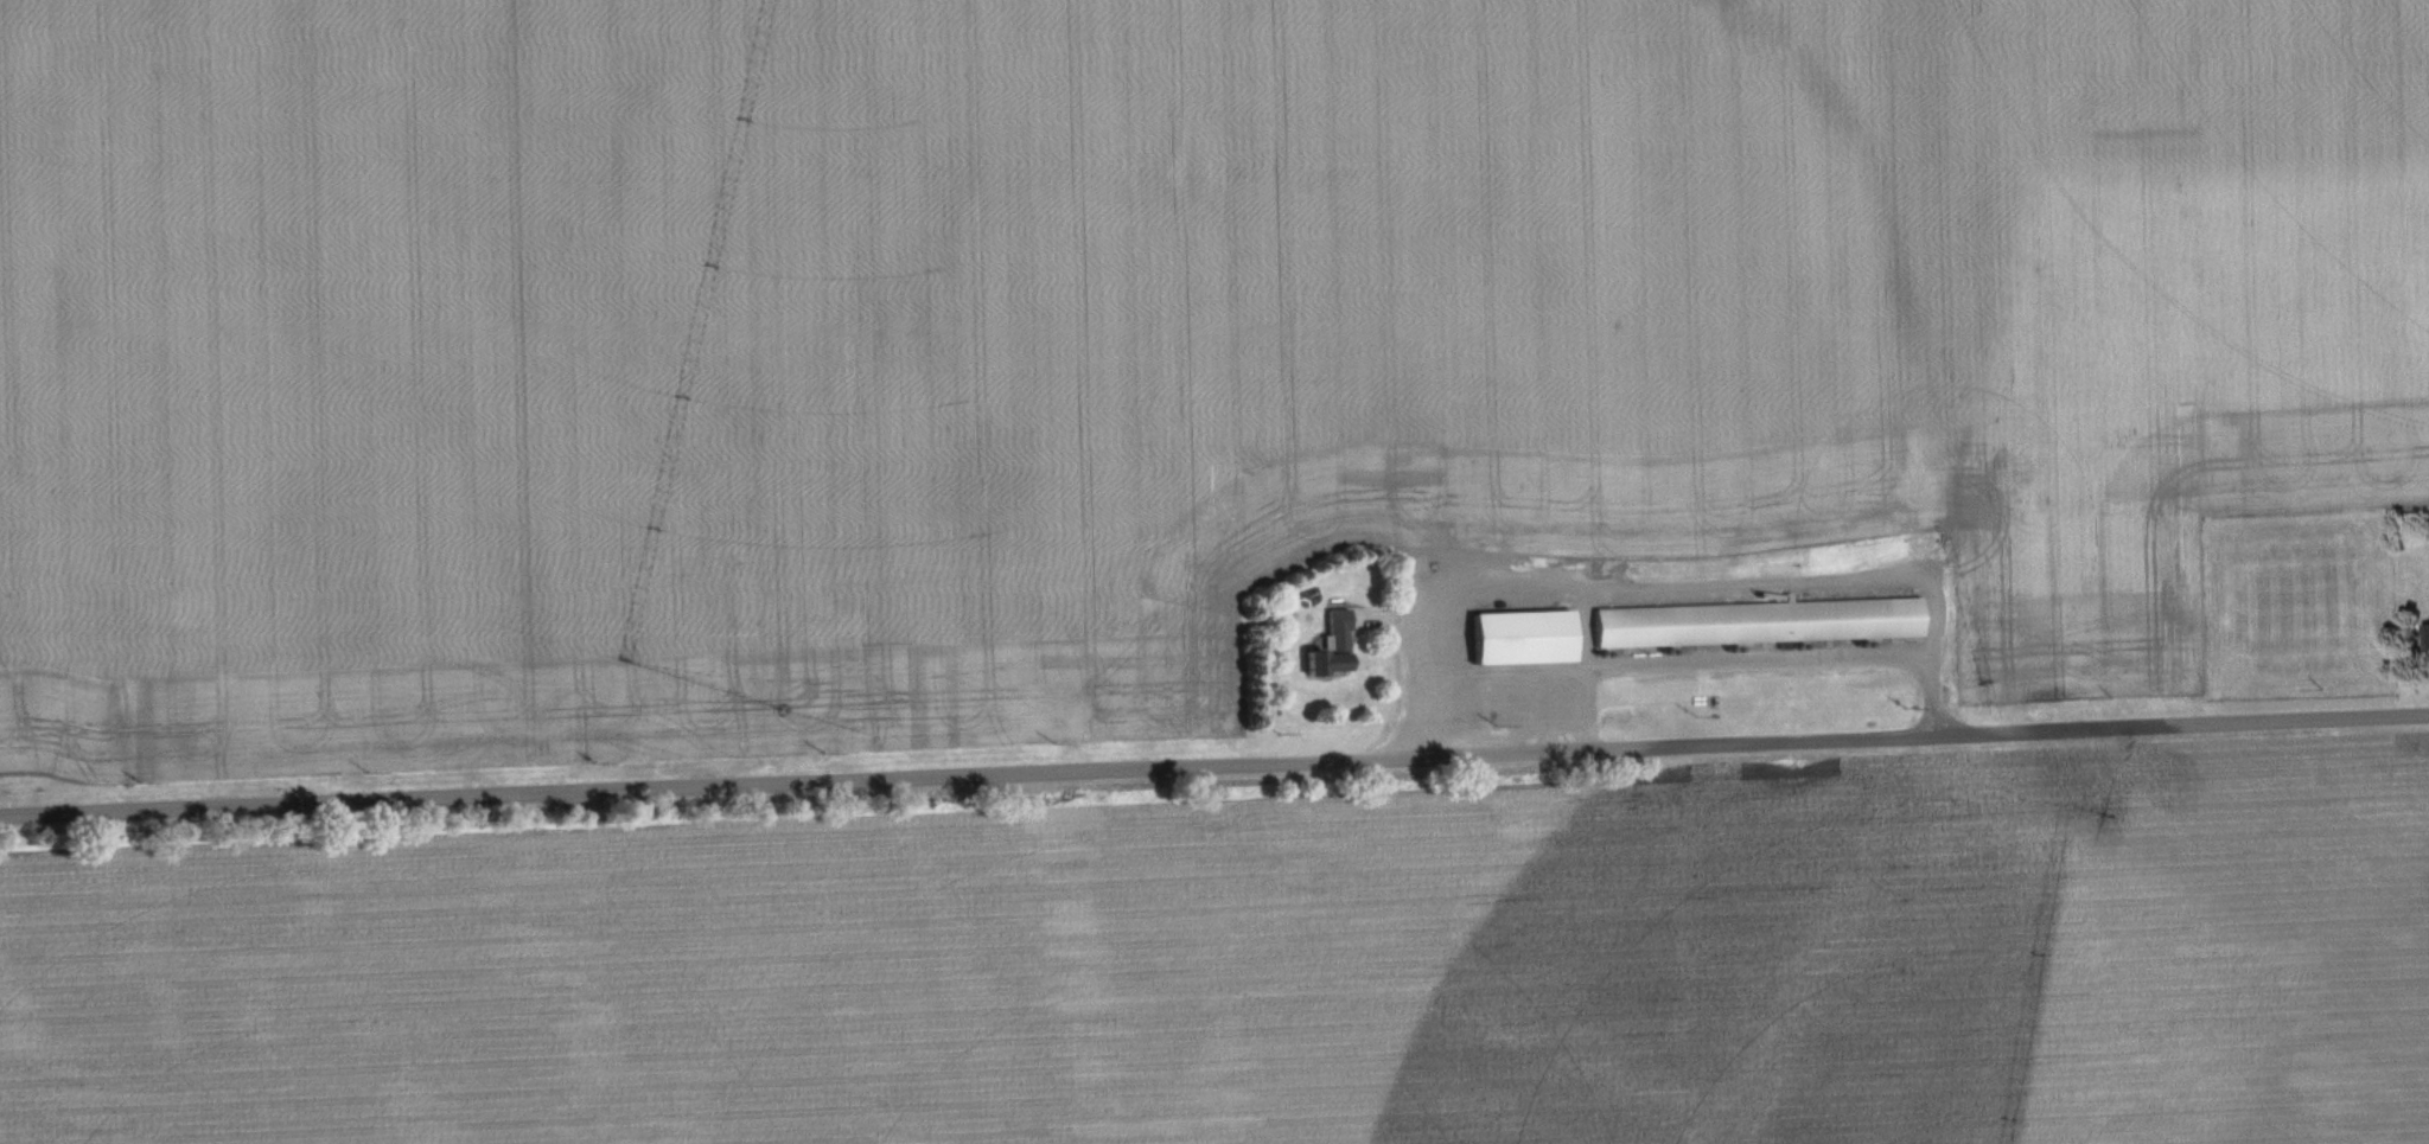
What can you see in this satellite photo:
crop: (1122, 341)
road: (1682, 584)
building: (1761, 622)
building: (1523, 634)
building: (2427, 634)
building: (1333, 646)
road: (1687, 665)
road: (1214, 762)
crop: (1274, 974)

